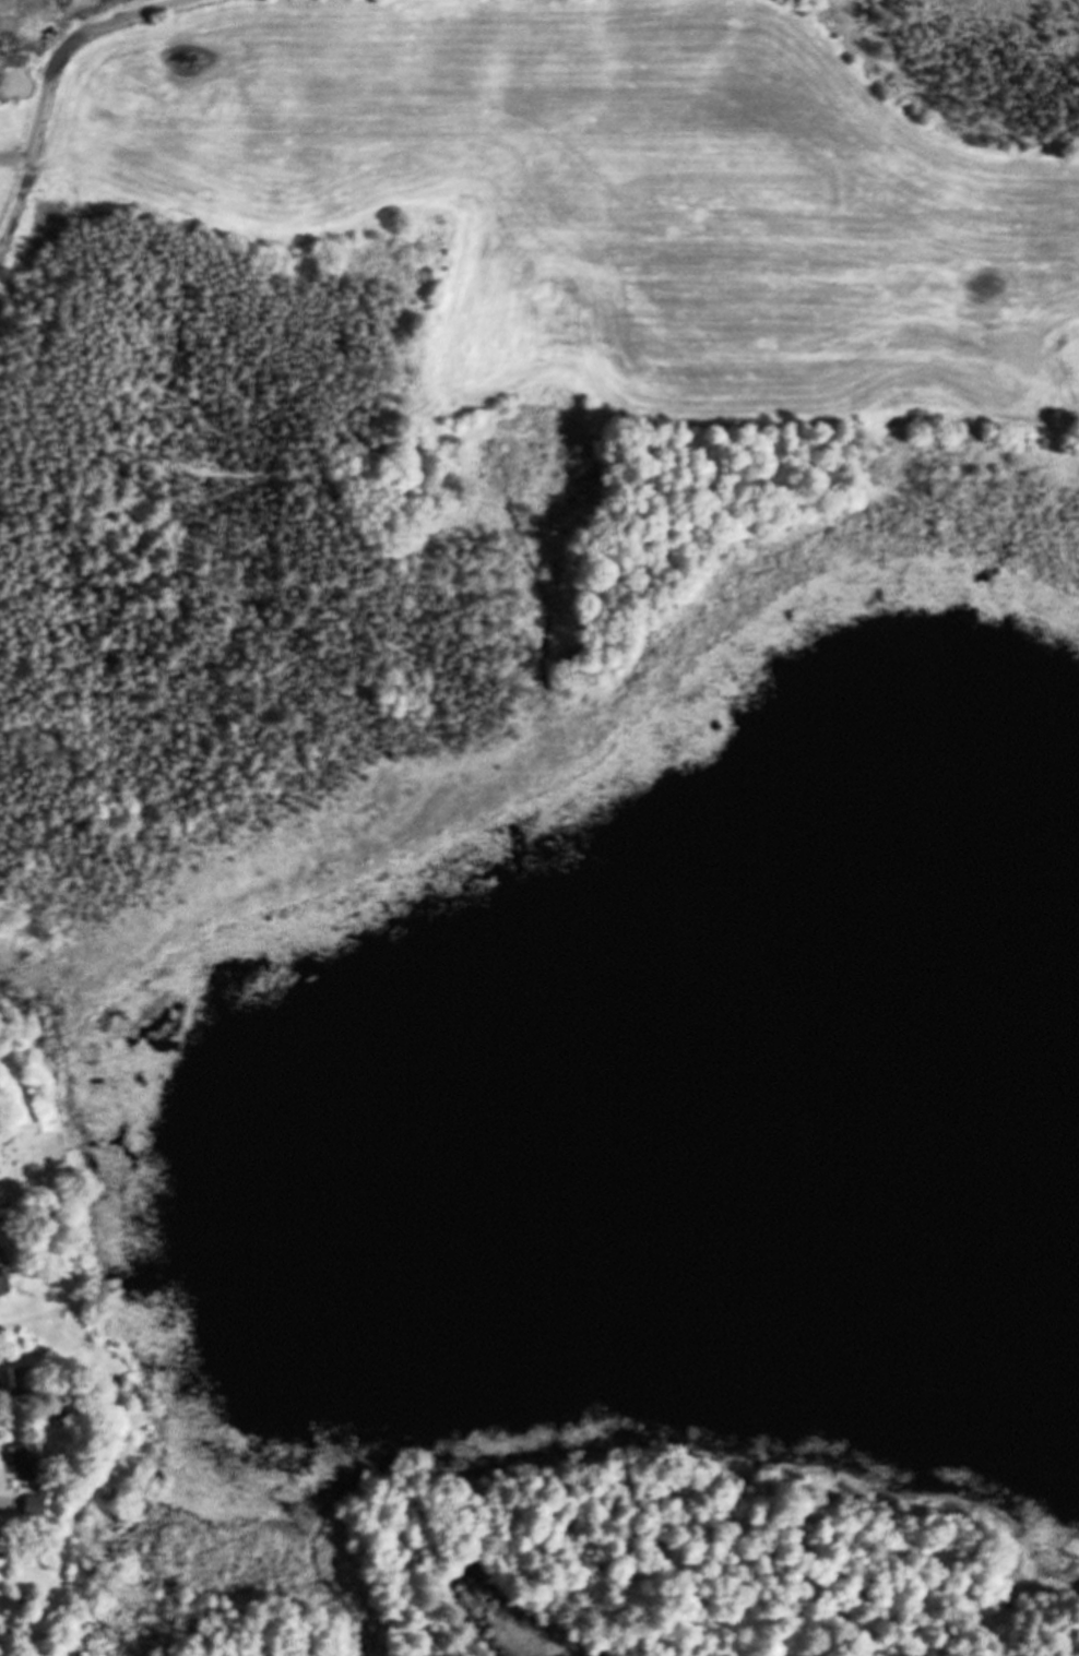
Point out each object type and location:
building: (3, 1284)
building: (13, 1382)
building: (24, 1458)
building: (33, 1504)

